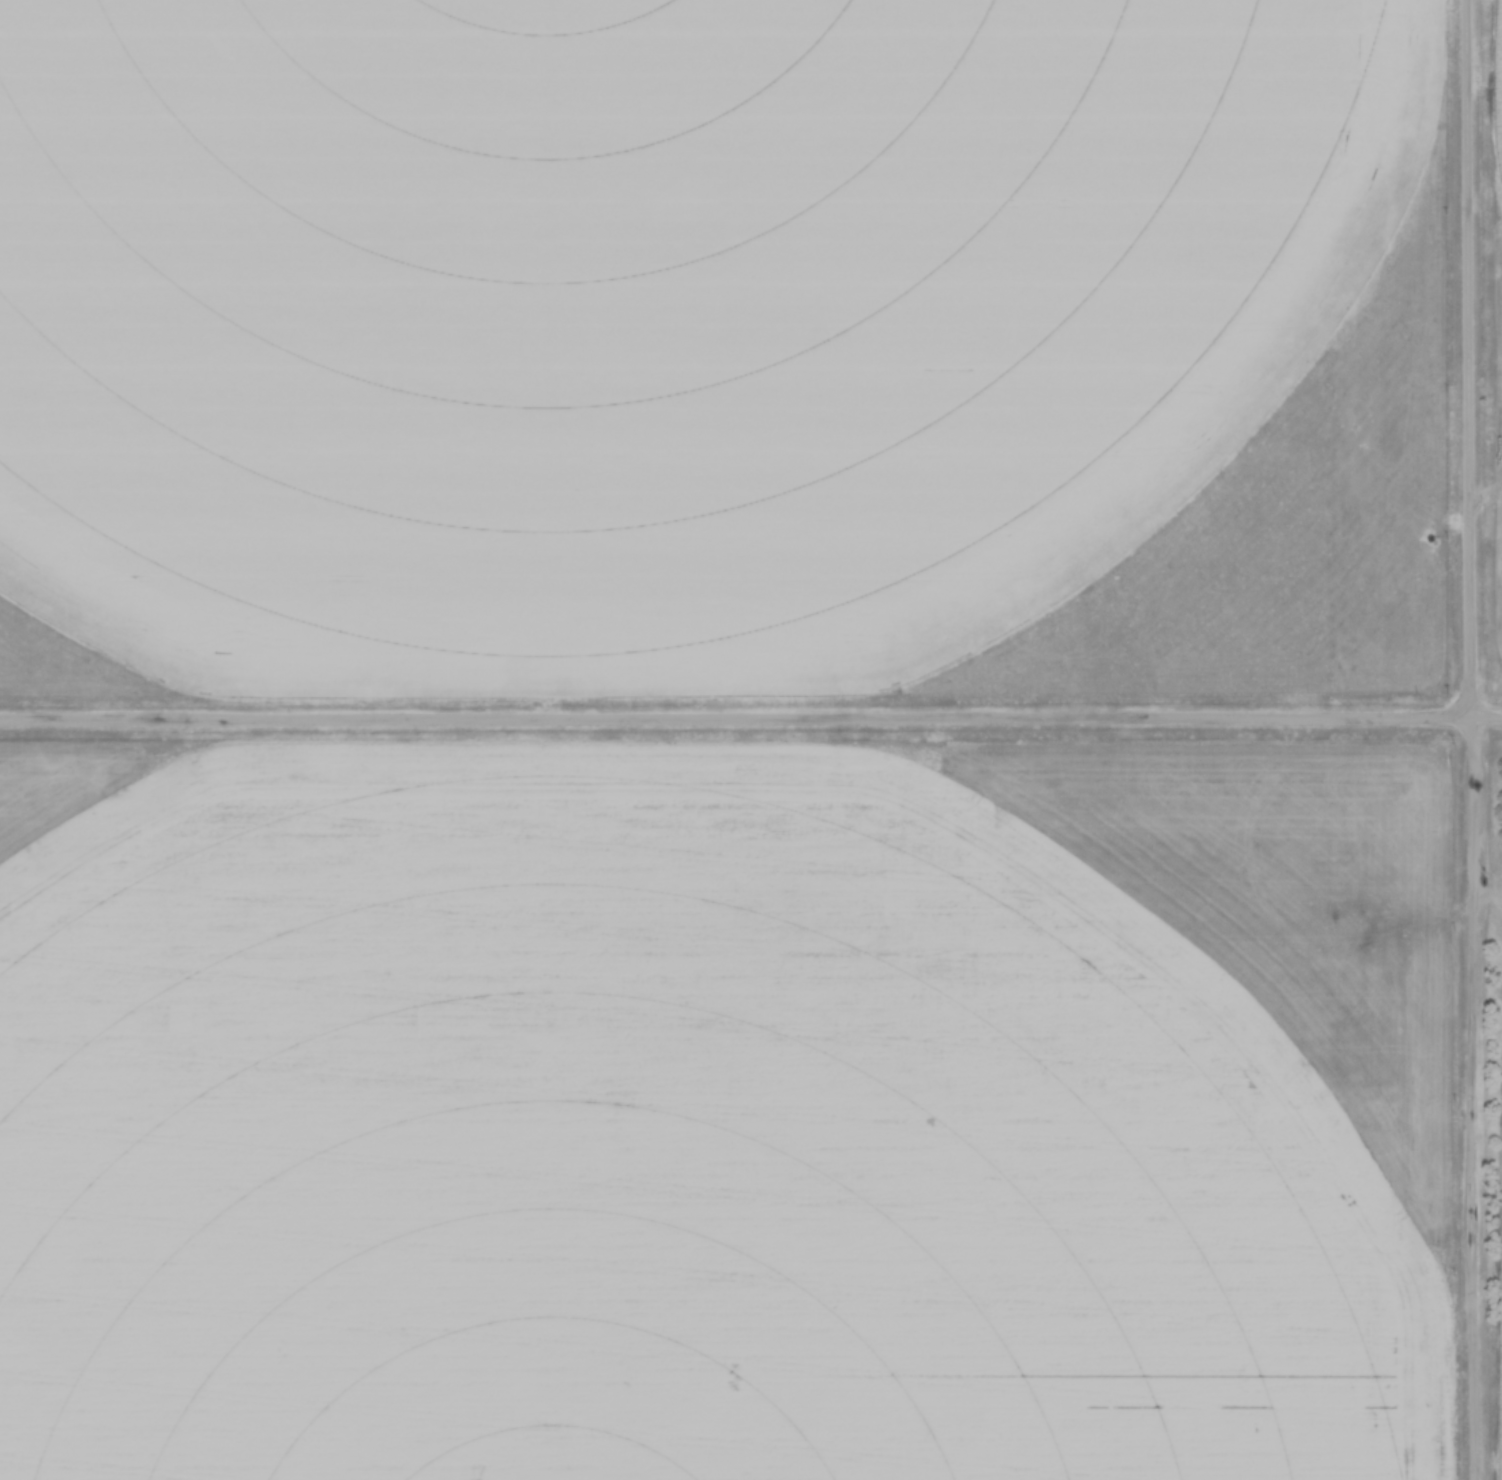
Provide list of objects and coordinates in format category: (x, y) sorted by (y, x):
road: (737, 723)
road: (1488, 726)
road: (1474, 739)

